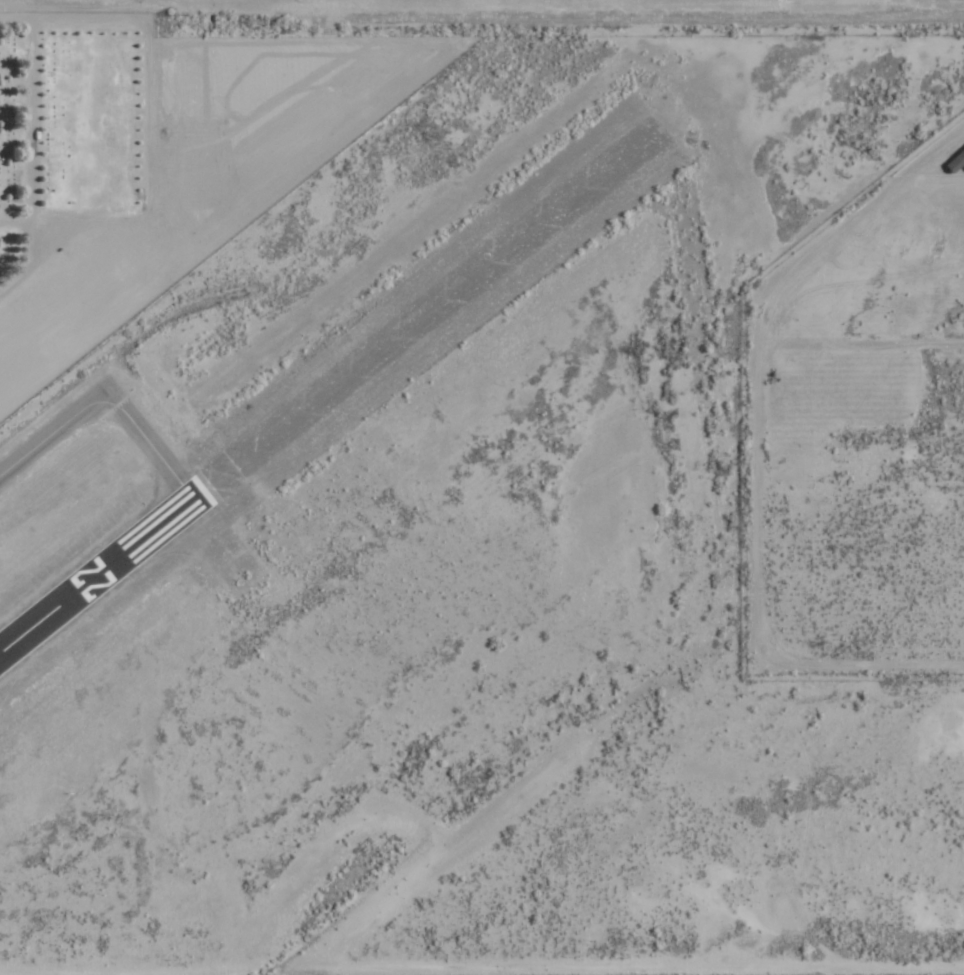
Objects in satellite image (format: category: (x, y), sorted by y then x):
road: (13, 18)
park: (68, 126)
airport taxiway: (104, 402)
airport runway: (93, 574)

